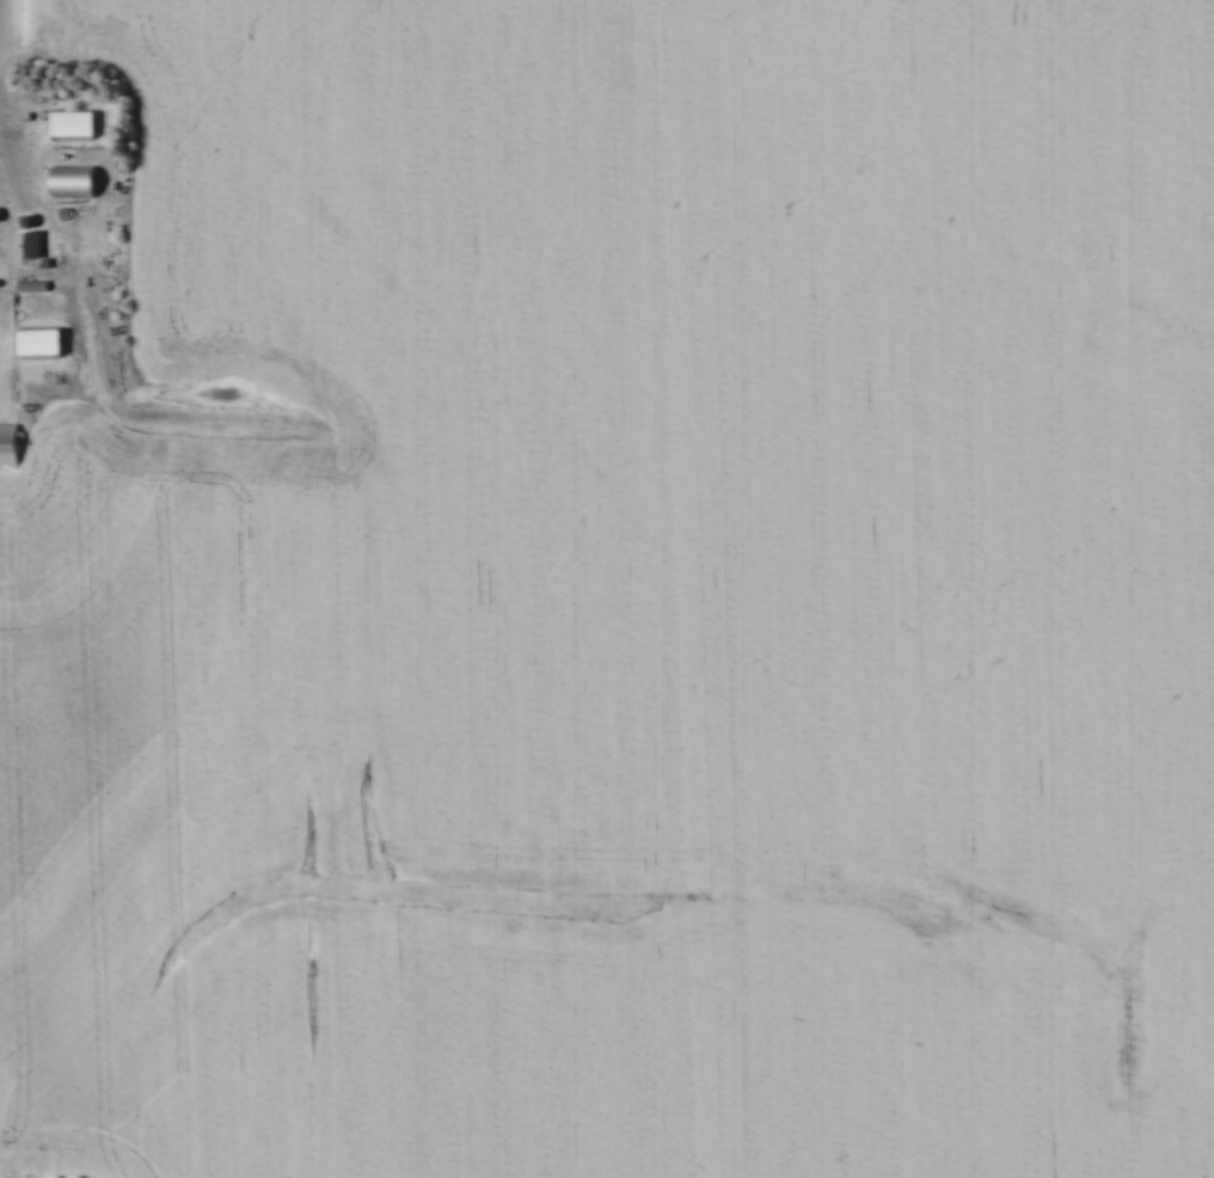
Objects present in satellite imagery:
road: (6, 45)
building: (74, 125)
building: (74, 182)
building: (30, 246)
building: (42, 344)
building: (8, 443)

